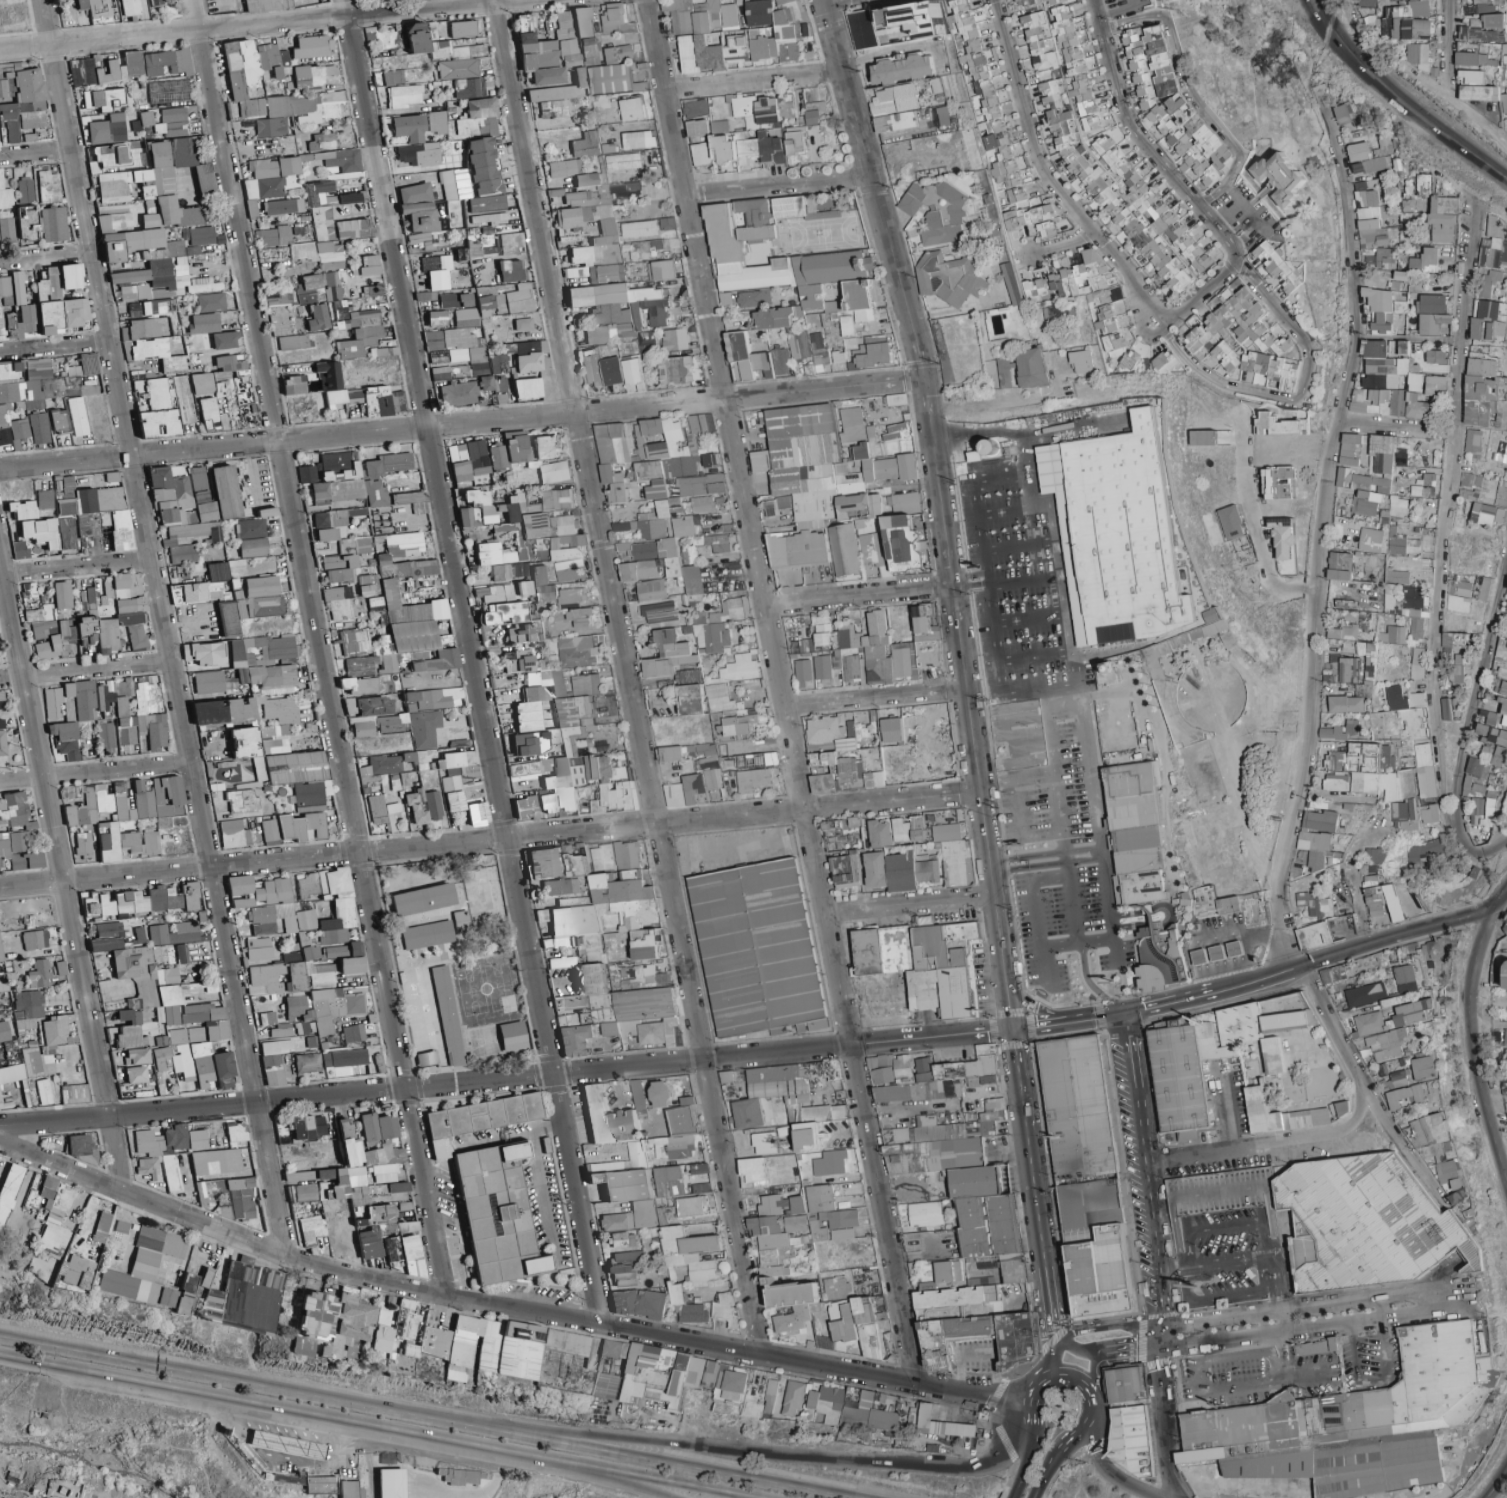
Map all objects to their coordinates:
building: (169, 0)
building: (325, 1)
building: (1054, 1)
building: (1479, 1)
building: (158, 3)
building: (1027, 3)
building: (1366, 3)
building: (83, 4)
building: (121, 4)
building: (290, 4)
building: (252, 5)
building: (271, 5)
building: (131, 7)
building: (100, 8)
building: (173, 8)
building: (1417, 8)
building: (1485, 8)
road: (232, 11)
building: (152, 12)
building: (759, 12)
road: (197, 14)
building: (152, 15)
building: (692, 15)
building: (728, 15)
building: (890, 17)
building: (134, 18)
building: (614, 19)
building: (921, 19)
building: (1494, 20)
building: (583, 22)
building: (1390, 23)
building: (565, 24)
building: (462, 28)
building: (1418, 28)
building: (861, 29)
building: (780, 33)
building: (1480, 34)
building: (382, 36)
building: (416, 37)
building: (1040, 41)
road: (1449, 42)
building: (569, 46)
building: (312, 47)
building: (589, 48)
road: (1344, 48)
building: (453, 50)
building: (712, 52)
building: (618, 53)
road: (1331, 54)
building: (538, 55)
building: (1419, 55)
building: (1471, 59)
building: (166, 62)
building: (121, 68)
building: (457, 68)
building: (903, 69)
building: (83, 70)
building: (313, 74)
building: (1472, 76)
building: (393, 77)
building: (611, 80)
building: (245, 87)
building: (468, 87)
building: (168, 91)
building: (1480, 93)
building: (404, 96)
building: (558, 96)
building: (893, 98)
building: (104, 99)
building: (1503, 103)
building: (787, 105)
building: (695, 106)
building: (1172, 106)
building: (632, 109)
building: (813, 112)
building: (1346, 114)
building: (477, 116)
building: (943, 116)
building: (146, 118)
building: (8, 122)
building: (437, 122)
building: (895, 122)
building: (409, 127)
building: (697, 128)
building: (757, 130)
building: (638, 139)
building: (323, 141)
building: (722, 143)
building: (795, 143)
building: (585, 145)
building: (182, 153)
building: (419, 154)
building: (700, 154)
building: (1370, 156)
building: (339, 159)
building: (622, 161)
building: (483, 166)
building: (263, 167)
building: (562, 168)
building: (203, 178)
building: (1279, 178)
building: (272, 180)
building: (455, 184)
building: (1422, 185)
building: (49, 186)
building: (151, 188)
building: (26, 190)
building: (600, 190)
building: (317, 191)
building: (414, 192)
building: (5, 194)
building: (344, 199)
building: (487, 203)
building: (283, 207)
building: (789, 207)
building: (252, 209)
building: (936, 211)
building: (420, 215)
building: (489, 218)
building: (1368, 219)
building: (1442, 219)
building: (1027, 220)
building: (114, 221)
building: (666, 223)
building: (28, 224)
building: (53, 224)
building: (569, 224)
building: (354, 229)
building: (637, 229)
building: (6, 230)
building: (274, 236)
building: (421, 241)
building: (320, 243)
building: (511, 243)
building: (655, 244)
building: (1493, 246)
building: (476, 248)
building: (639, 250)
building: (822, 261)
building: (1424, 261)
building: (156, 262)
building: (578, 262)
building: (369, 264)
building: (1275, 266)
building: (437, 271)
building: (608, 271)
building: (70, 276)
building: (946, 278)
building: (1488, 280)
building: (52, 283)
building: (1011, 284)
building: (333, 285)
building: (1034, 287)
building: (309, 288)
building: (5, 290)
building: (371, 291)
building: (422, 296)
building: (724, 298)
building: (1095, 298)
building: (277, 299)
building: (455, 300)
building: (515, 300)
building: (211, 302)
building: (485, 303)
building: (1430, 303)
building: (25, 305)
building: (852, 305)
building: (619, 309)
building: (75, 311)
building: (49, 317)
building: (318, 317)
building: (365, 317)
building: (437, 318)
building: (467, 318)
building: (1489, 320)
building: (204, 323)
building: (1432, 323)
building: (523, 324)
building: (1232, 332)
building: (675, 339)
building: (225, 340)
building: (293, 342)
building: (358, 342)
building: (151, 346)
building: (454, 346)
building: (799, 346)
building: (1402, 347)
building: (383, 348)
building: (817, 351)
building: (530, 355)
building: (875, 355)
building: (739, 356)
building: (839, 356)
building: (1435, 356)
building: (780, 361)
building: (1080, 361)
building: (1164, 362)
building: (499, 363)
building: (762, 363)
building: (1380, 365)
building: (589, 367)
building: (1031, 368)
building: (632, 370)
building: (679, 370)
building: (450, 371)
building: (611, 371)
building: (1266, 371)
building: (1004, 373)
building: (1414, 382)
building: (486, 383)
building: (229, 384)
building: (293, 385)
building: (334, 385)
building: (1435, 385)
building: (39, 386)
building: (527, 388)
building: (459, 393)
building: (1484, 394)
building: (894, 399)
building: (382, 401)
building: (1368, 401)
building: (1395, 402)
building: (165, 407)
building: (1417, 407)
building: (208, 414)
building: (851, 425)
building: (1278, 425)
building: (39, 428)
building: (19, 432)
building: (895, 432)
building: (1202, 437)
building: (1473, 443)
building: (545, 447)
building: (517, 449)
building: (1379, 454)
building: (1500, 455)
building: (496, 456)
building: (673, 458)
building: (468, 460)
building: (612, 460)
building: (710, 460)
building: (390, 463)
building: (339, 466)
building: (906, 466)
building: (553, 472)
building: (306, 474)
building: (112, 476)
building: (1359, 482)
building: (815, 483)
building: (1278, 483)
building: (1424, 486)
building: (1470, 486)
building: (332, 490)
building: (225, 492)
building: (320, 493)
building: (374, 493)
building: (1501, 494)
building: (202, 495)
building: (409, 497)
building: (44, 499)
building: (557, 499)
building: (1364, 503)
building: (700, 504)
building: (774, 505)
building: (1396, 507)
building: (22, 509)
building: (97, 512)
building: (178, 514)
building: (1485, 514)
building: (469, 517)
building: (323, 519)
building: (661, 521)
building: (1230, 522)
building: (251, 528)
building: (535, 530)
building: (41, 531)
building: (904, 533)
building: (327, 534)
building: (1282, 536)
building: (1121, 538)
building: (1369, 540)
building: (1400, 543)
building: (362, 545)
building: (253, 547)
building: (842, 549)
building: (20, 550)
building: (637, 550)
building: (498, 554)
building: (668, 555)
building: (1339, 566)
building: (340, 568)
building: (508, 570)
building: (637, 570)
building: (1396, 576)
building: (407, 578)
building: (692, 580)
building: (127, 583)
building: (369, 584)
building: (202, 586)
building: (261, 586)
building: (525, 587)
building: (542, 588)
building: (1469, 588)
building: (649, 590)
building: (29, 592)
building: (62, 595)
building: (101, 597)
building: (340, 602)
building: (130, 604)
building: (1459, 604)
building: (501, 605)
building: (265, 606)
building: (1404, 606)
building: (730, 610)
building: (658, 612)
building: (1352, 616)
building: (579, 617)
building: (229, 620)
building: (40, 621)
road: (160, 624)
building: (134, 628)
building: (821, 630)
building: (87, 631)
building: (1341, 632)
building: (522, 633)
building: (1391, 634)
building: (926, 635)
building: (107, 636)
building: (710, 636)
building: (355, 642)
building: (57, 643)
building: (1453, 644)
building: (398, 647)
building: (879, 650)
building: (241, 651)
building: (577, 651)
building: (666, 654)
building: (1367, 659)
road: (470, 660)
building: (439, 661)
building: (1416, 662)
building: (518, 663)
building: (821, 667)
building: (850, 668)
building: (1339, 669)
building: (802, 673)
building: (243, 675)
building: (273, 678)
building: (209, 681)
building: (722, 682)
building: (584, 685)
building: (689, 691)
building: (146, 694)
building: (104, 696)
building: (2, 699)
building: (71, 702)
building: (280, 709)
building: (529, 710)
building: (224, 711)
building: (366, 713)
building: (421, 715)
building: (1, 724)
building: (740, 724)
building: (140, 728)
building: (106, 735)
building: (65, 739)
building: (275, 739)
building: (534, 742)
building: (408, 757)
building: (455, 759)
building: (277, 760)
building: (379, 768)
building: (168, 795)
building: (103, 799)
building: (79, 805)
building: (13, 809)
gas station: (1231, 946)
gas station: (1213, 950)
gas station: (1195, 954)
park: (1048, 1421)
gas station: (289, 1444)

